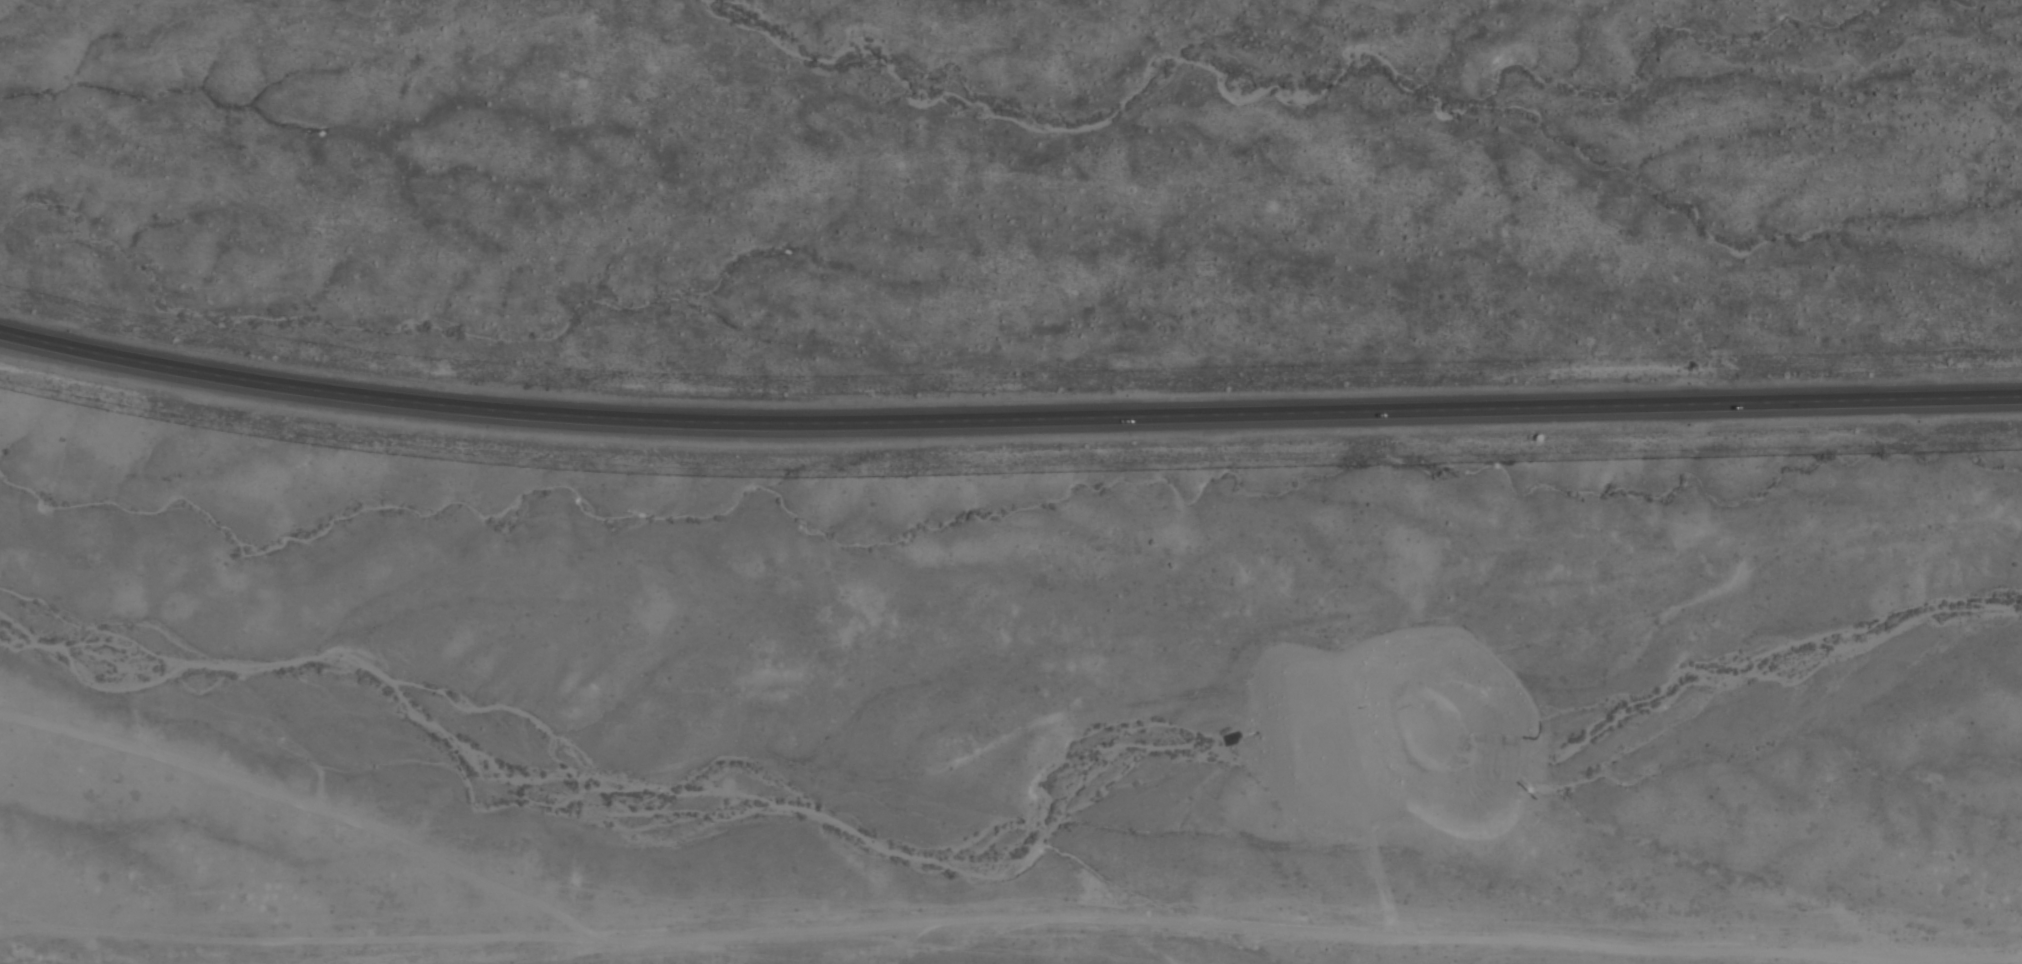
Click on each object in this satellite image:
road: (1007, 415)
road: (628, 944)
road: (1661, 952)

